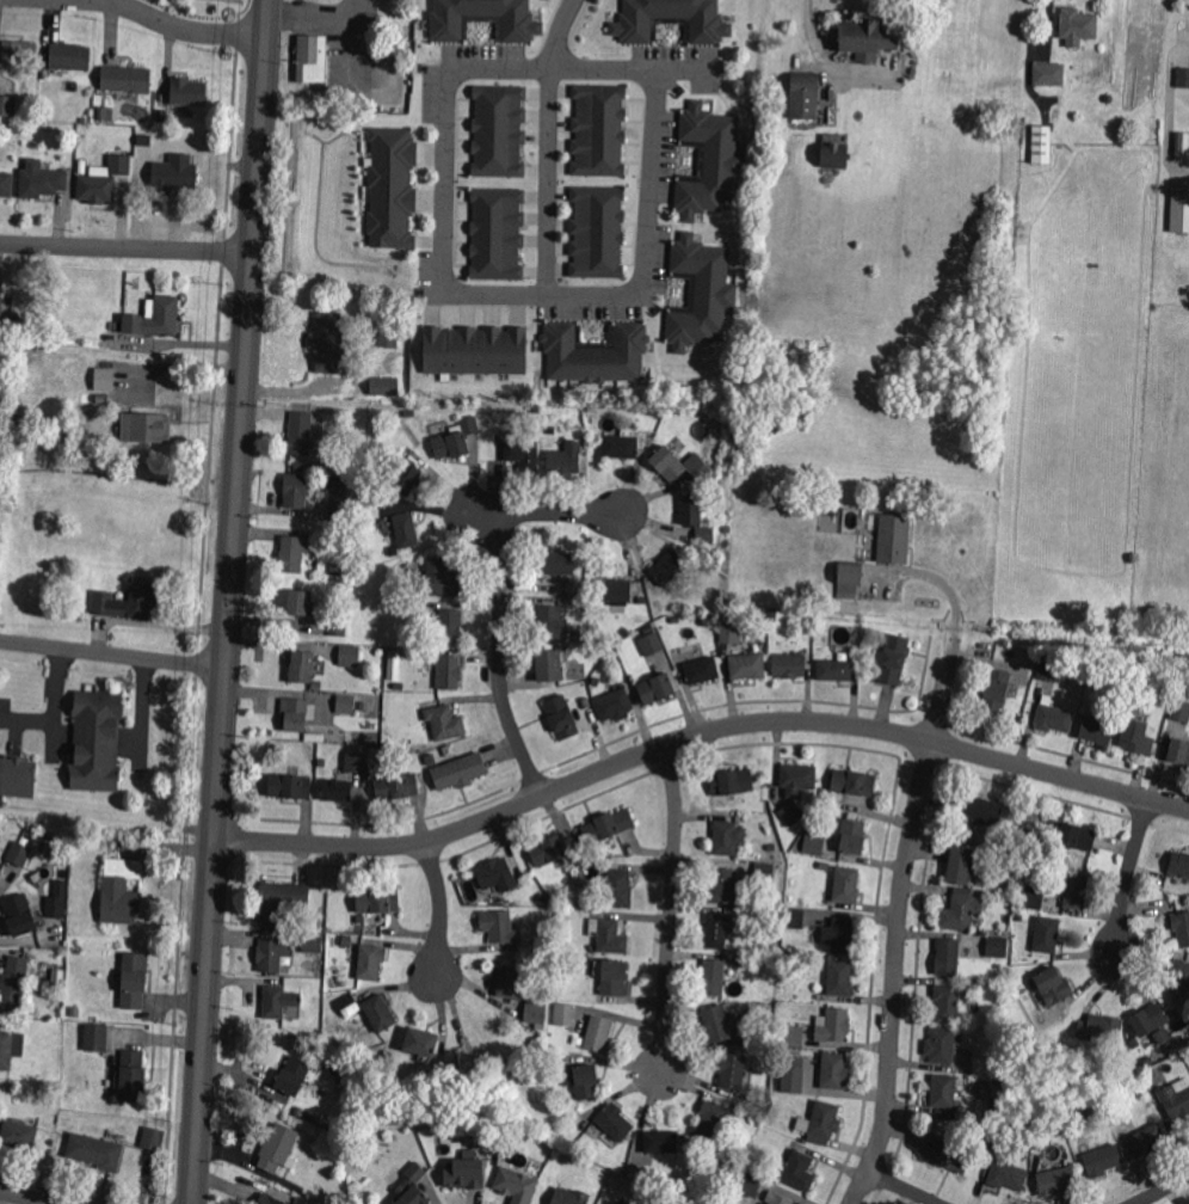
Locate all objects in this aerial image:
building: (485, 20)
building: (673, 20)
building: (1077, 23)
road: (183, 29)
road: (557, 33)
building: (867, 35)
road: (808, 42)
building: (21, 51)
building: (70, 55)
building: (310, 55)
building: (1051, 72)
building: (127, 76)
building: (1182, 76)
building: (187, 88)
building: (805, 93)
building: (7, 106)
building: (103, 110)
building: (499, 131)
building: (598, 131)
building: (1043, 142)
building: (1183, 142)
building: (125, 143)
building: (168, 147)
building: (836, 153)
building: (710, 161)
building: (171, 173)
building: (101, 179)
building: (42, 180)
road: (548, 183)
building: (7, 184)
building: (393, 189)
building: (1181, 213)
building: (597, 233)
building: (498, 234)
road: (124, 246)
road: (445, 285)
building: (701, 293)
building: (1, 302)
building: (156, 318)
building: (389, 338)
building: (327, 342)
building: (474, 350)
building: (596, 354)
building: (104, 376)
building: (384, 386)
building: (408, 410)
building: (726, 416)
building: (468, 424)
building: (147, 425)
building: (552, 429)
building: (302, 432)
building: (621, 442)
building: (452, 443)
building: (524, 451)
building: (567, 457)
building: (298, 463)
building: (667, 463)
building: (700, 468)
building: (406, 473)
building: (12, 485)
building: (297, 490)
building: (8, 508)
building: (692, 509)
building: (727, 526)
building: (407, 529)
building: (706, 535)
building: (895, 537)
building: (295, 551)
building: (557, 561)
building: (344, 563)
building: (667, 567)
building: (849, 573)
road: (928, 575)
building: (443, 577)
building: (615, 588)
building: (129, 601)
road: (230, 601)
building: (295, 602)
road: (501, 603)
building: (659, 603)
building: (771, 612)
building: (550, 620)
building: (451, 626)
building: (339, 627)
building: (827, 627)
building: (651, 631)
building: (732, 633)
building: (869, 644)
building: (653, 645)
road: (113, 651)
building: (347, 653)
building: (894, 657)
building: (392, 663)
building: (300, 664)
building: (550, 664)
building: (748, 664)
building: (790, 664)
building: (1049, 666)
building: (701, 668)
building: (836, 668)
building: (450, 671)
building: (315, 682)
building: (398, 686)
building: (655, 688)
building: (997, 689)
building: (1165, 695)
building: (400, 696)
building: (345, 701)
building: (615, 704)
road: (141, 705)
road: (54, 706)
building: (364, 706)
building: (1181, 708)
building: (296, 712)
building: (562, 715)
building: (1054, 717)
building: (445, 720)
building: (1097, 729)
road: (697, 732)
building: (1138, 736)
building: (96, 741)
building: (1179, 750)
building: (357, 761)
building: (461, 770)
building: (799, 776)
building: (18, 779)
building: (733, 780)
building: (855, 780)
building: (291, 785)
building: (398, 785)
building: (337, 787)
building: (982, 809)
building: (793, 811)
building: (609, 824)
building: (855, 834)
building: (1072, 834)
building: (728, 835)
building: (813, 838)
building: (770, 844)
building: (546, 848)
building: (20, 852)
building: (1179, 862)
building: (961, 864)
building: (824, 866)
building: (1, 871)
building: (495, 871)
building: (765, 871)
road: (1128, 873)
building: (722, 883)
building: (848, 883)
building: (621, 886)
building: (122, 889)
building: (1077, 889)
building: (1035, 893)
building: (380, 898)
building: (57, 899)
building: (281, 901)
road: (442, 907)
road: (672, 908)
building: (961, 910)
building: (766, 911)
building: (20, 913)
building: (795, 916)
road: (899, 916)
building: (362, 919)
building: (499, 923)
building: (1182, 924)
building: (717, 929)
building: (1048, 932)
building: (840, 933)
building: (612, 934)
building: (314, 940)
building: (998, 946)
building: (273, 951)
building: (948, 954)
building: (371, 959)
building: (752, 962)
building: (612, 973)
building: (711, 975)
building: (1181, 976)
building: (56, 977)
building: (135, 977)
building: (842, 977)
building: (1053, 983)
building: (13, 984)
building: (520, 994)
building: (277, 997)
building: (948, 1001)
building: (350, 1002)
building: (381, 1010)
building: (566, 1013)
building: (763, 1014)
building: (1150, 1018)
building: (996, 1020)
building: (720, 1021)
building: (834, 1022)
building: (488, 1027)
building: (1099, 1027)
building: (599, 1031)
building: (93, 1033)
building: (795, 1033)
building: (314, 1036)
building: (961, 1039)
building: (423, 1040)
building: (942, 1044)
building: (7, 1048)
building: (733, 1068)
building: (836, 1069)
building: (134, 1074)
building: (1145, 1074)
building: (295, 1075)
building: (791, 1077)
building: (584, 1079)
building: (944, 1088)
building: (1126, 1093)
building: (347, 1098)
building: (1175, 1100)
building: (312, 1117)
building: (714, 1117)
building: (616, 1119)
building: (821, 1120)
building: (18, 1132)
building: (1148, 1137)
building: (153, 1139)
building: (661, 1139)
building: (278, 1145)
building: (97, 1149)
building: (945, 1151)
building: (1103, 1157)
building: (800, 1168)
building: (414, 1171)
building: (464, 1173)
building: (1008, 1173)
building: (1058, 1178)
building: (752, 1182)
building: (516, 1185)
road: (905, 1186)
road: (1162, 1190)
road: (32, 1196)
building: (412, 1196)
building: (568, 1196)
building: (778, 1198)
building: (269, 1199)

